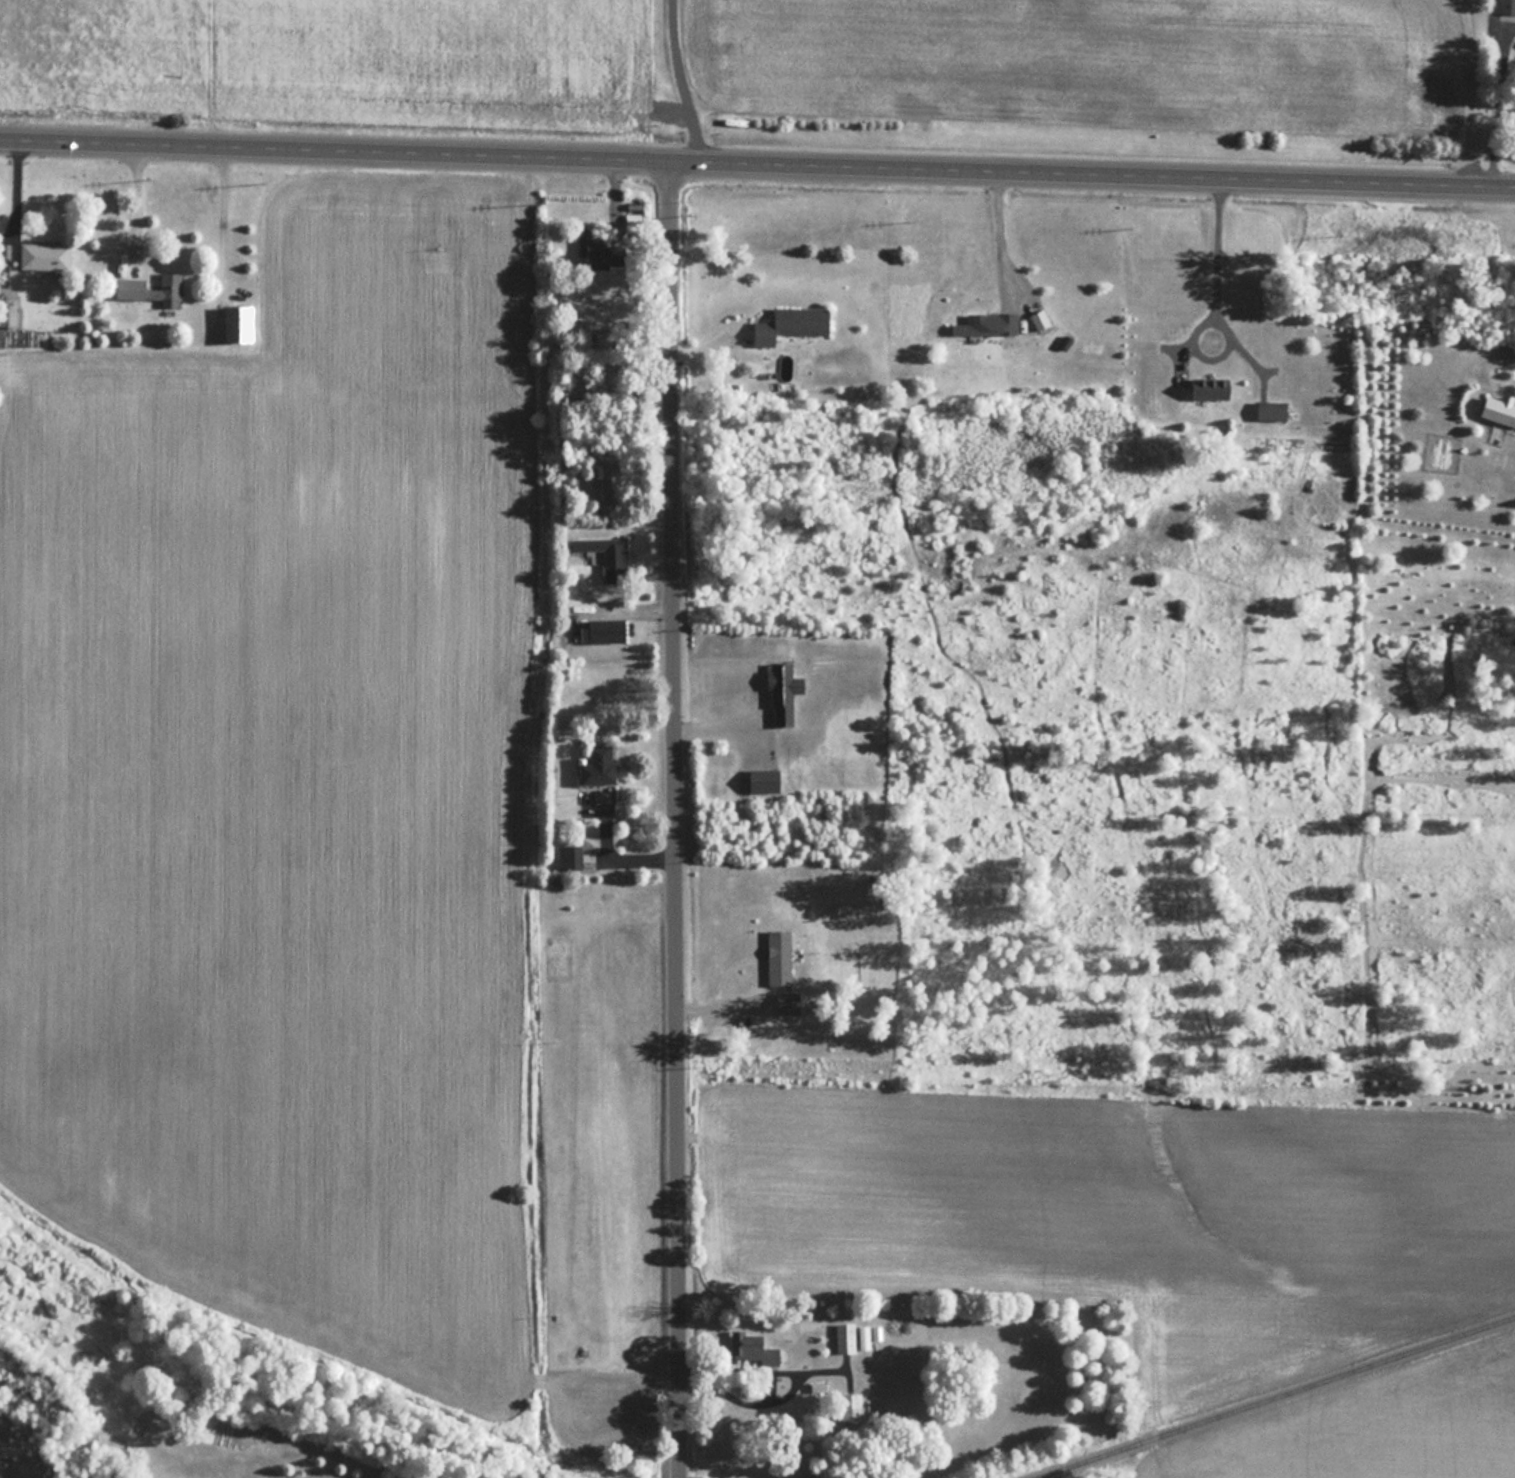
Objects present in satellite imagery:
building: (1507, 6)
road: (682, 82)
road: (1465, 94)
road: (1487, 104)
road: (757, 168)
road: (8, 195)
road: (128, 207)
road: (999, 242)
building: (598, 251)
building: (45, 255)
road: (1215, 282)
building: (155, 289)
building: (241, 322)
building: (793, 323)
building: (989, 323)
building: (1213, 387)
building: (1273, 408)
building: (1499, 410)
building: (603, 477)
building: (608, 554)
building: (608, 629)
building: (785, 691)
building: (600, 765)
building: (765, 778)
road: (673, 822)
building: (571, 856)
building: (780, 956)
building: (788, 1002)
building: (846, 1337)
building: (749, 1348)
railway: (1282, 1398)
building: (852, 1406)

